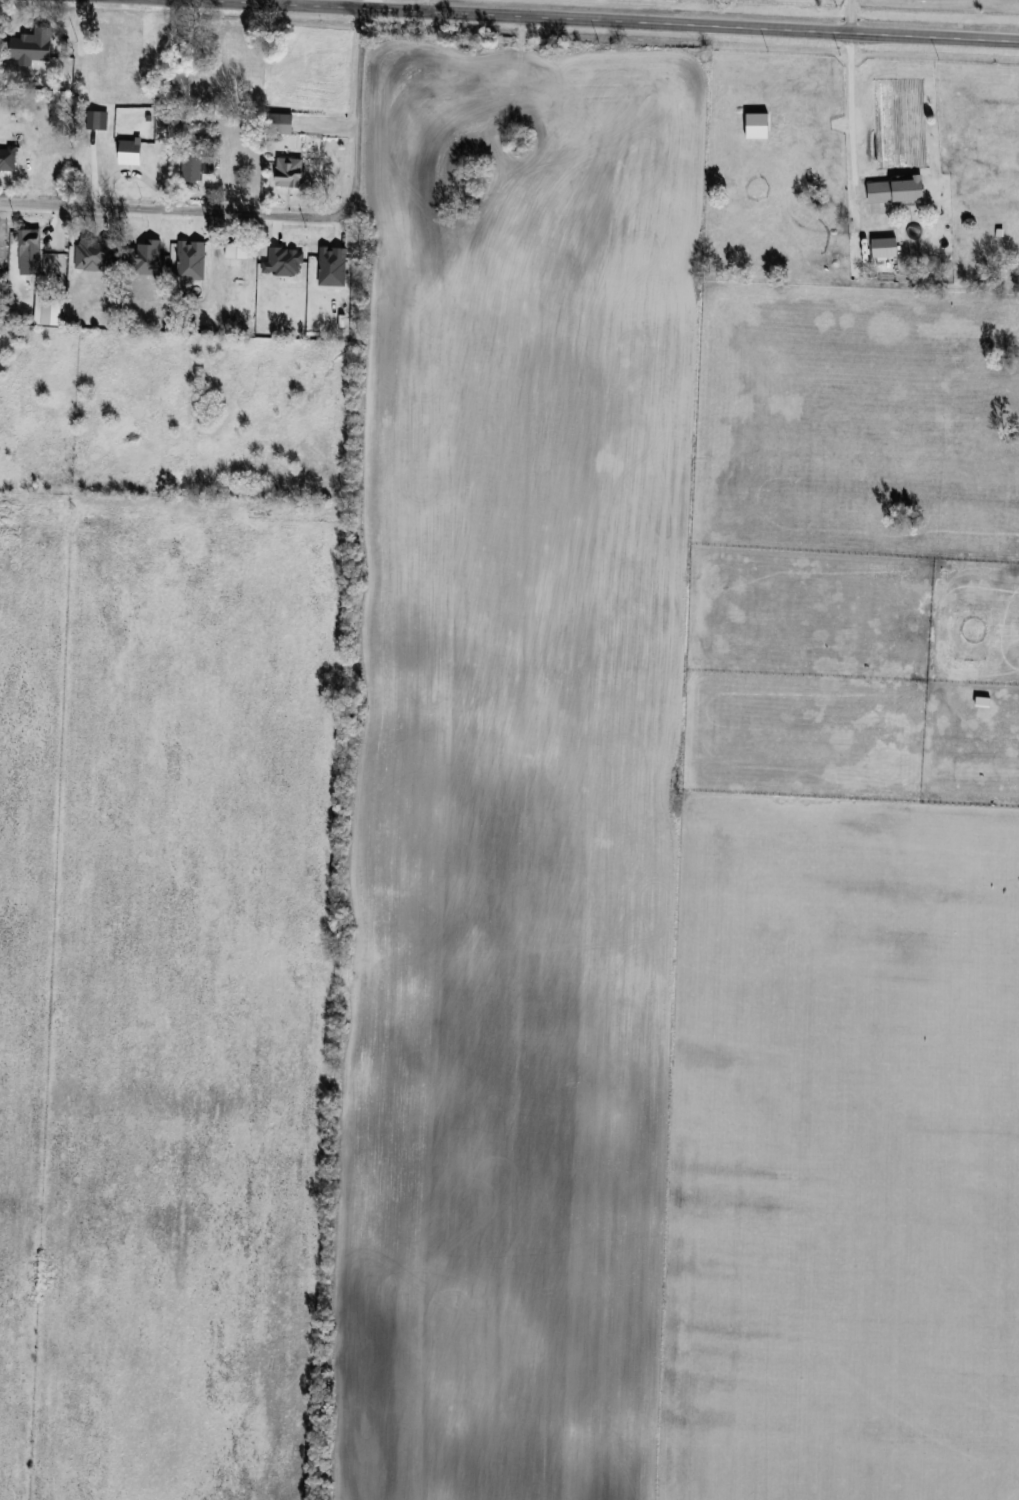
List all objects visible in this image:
road: (611, 20)
building: (165, 51)
road: (855, 104)
road: (357, 107)
building: (279, 123)
building: (8, 158)
building: (197, 164)
building: (51, 166)
building: (289, 172)
building: (898, 190)
road: (174, 209)
building: (30, 243)
building: (175, 247)
building: (885, 247)

